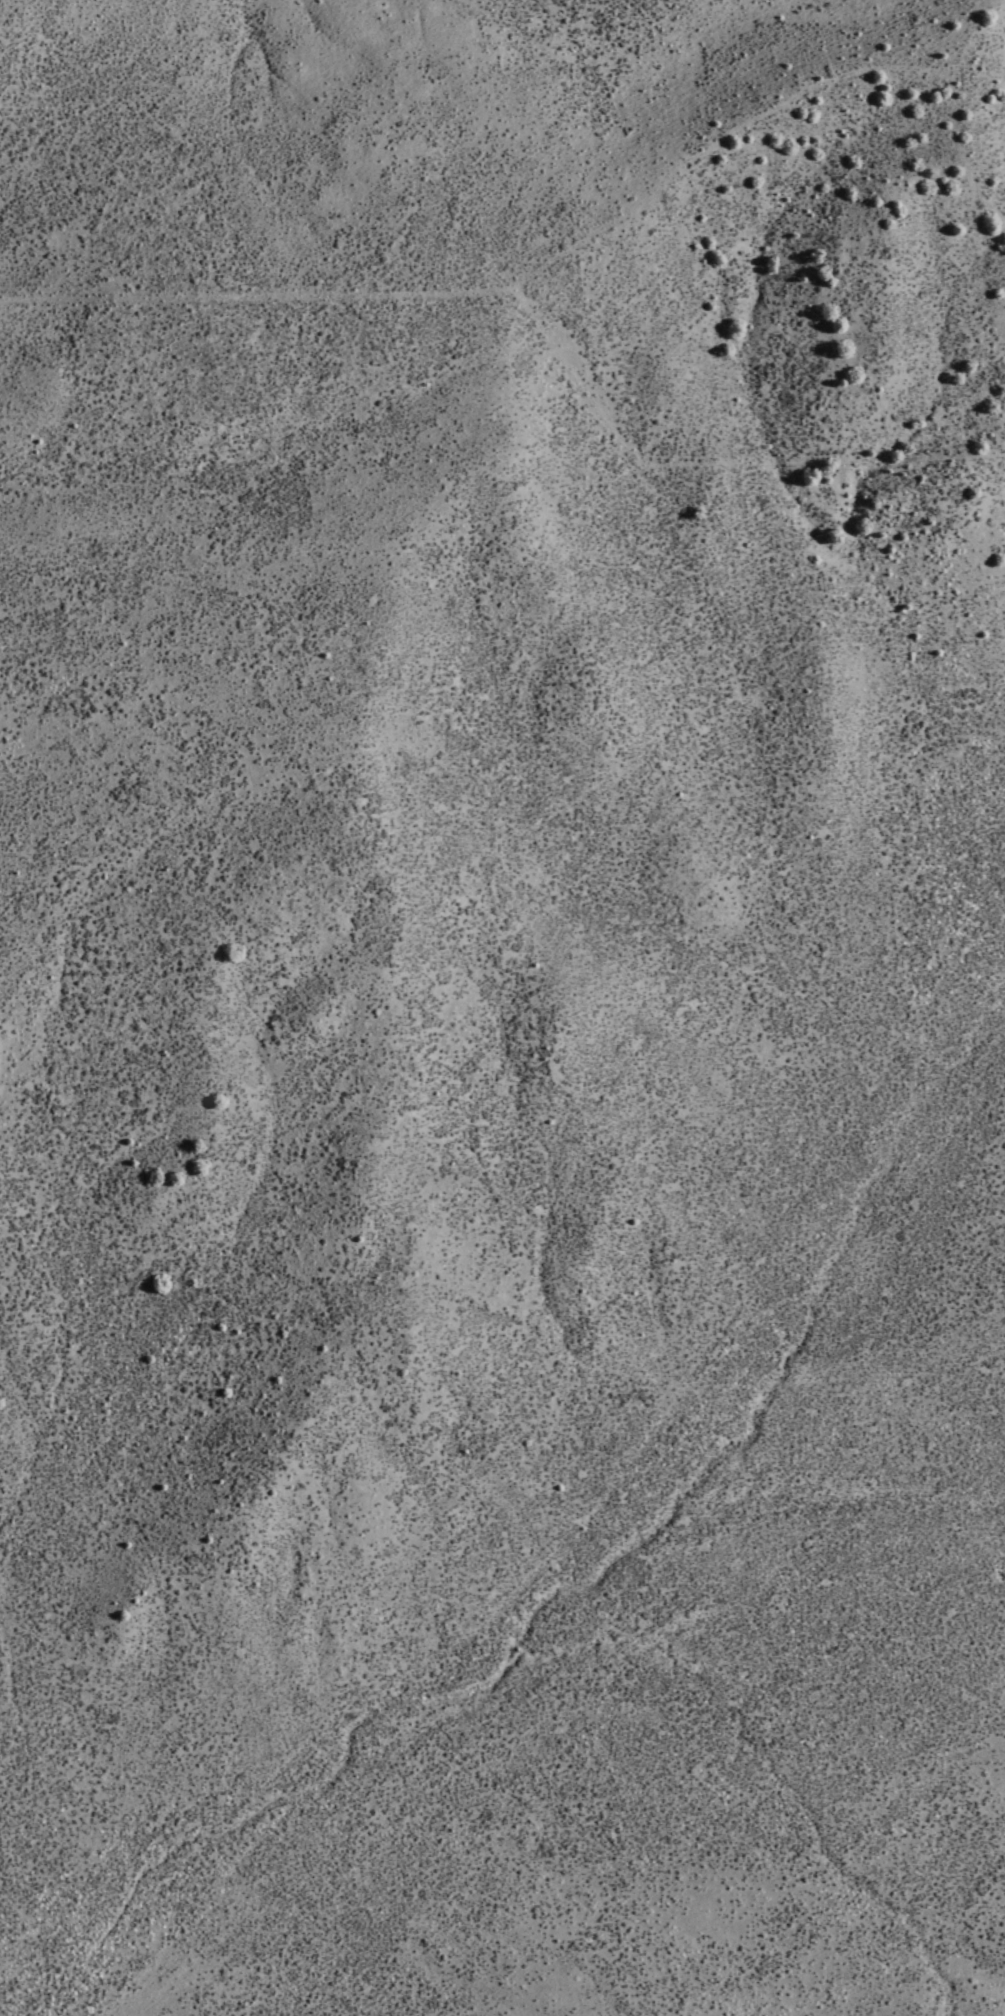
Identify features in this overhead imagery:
road: (528, 326)
crop: (603, 1835)

